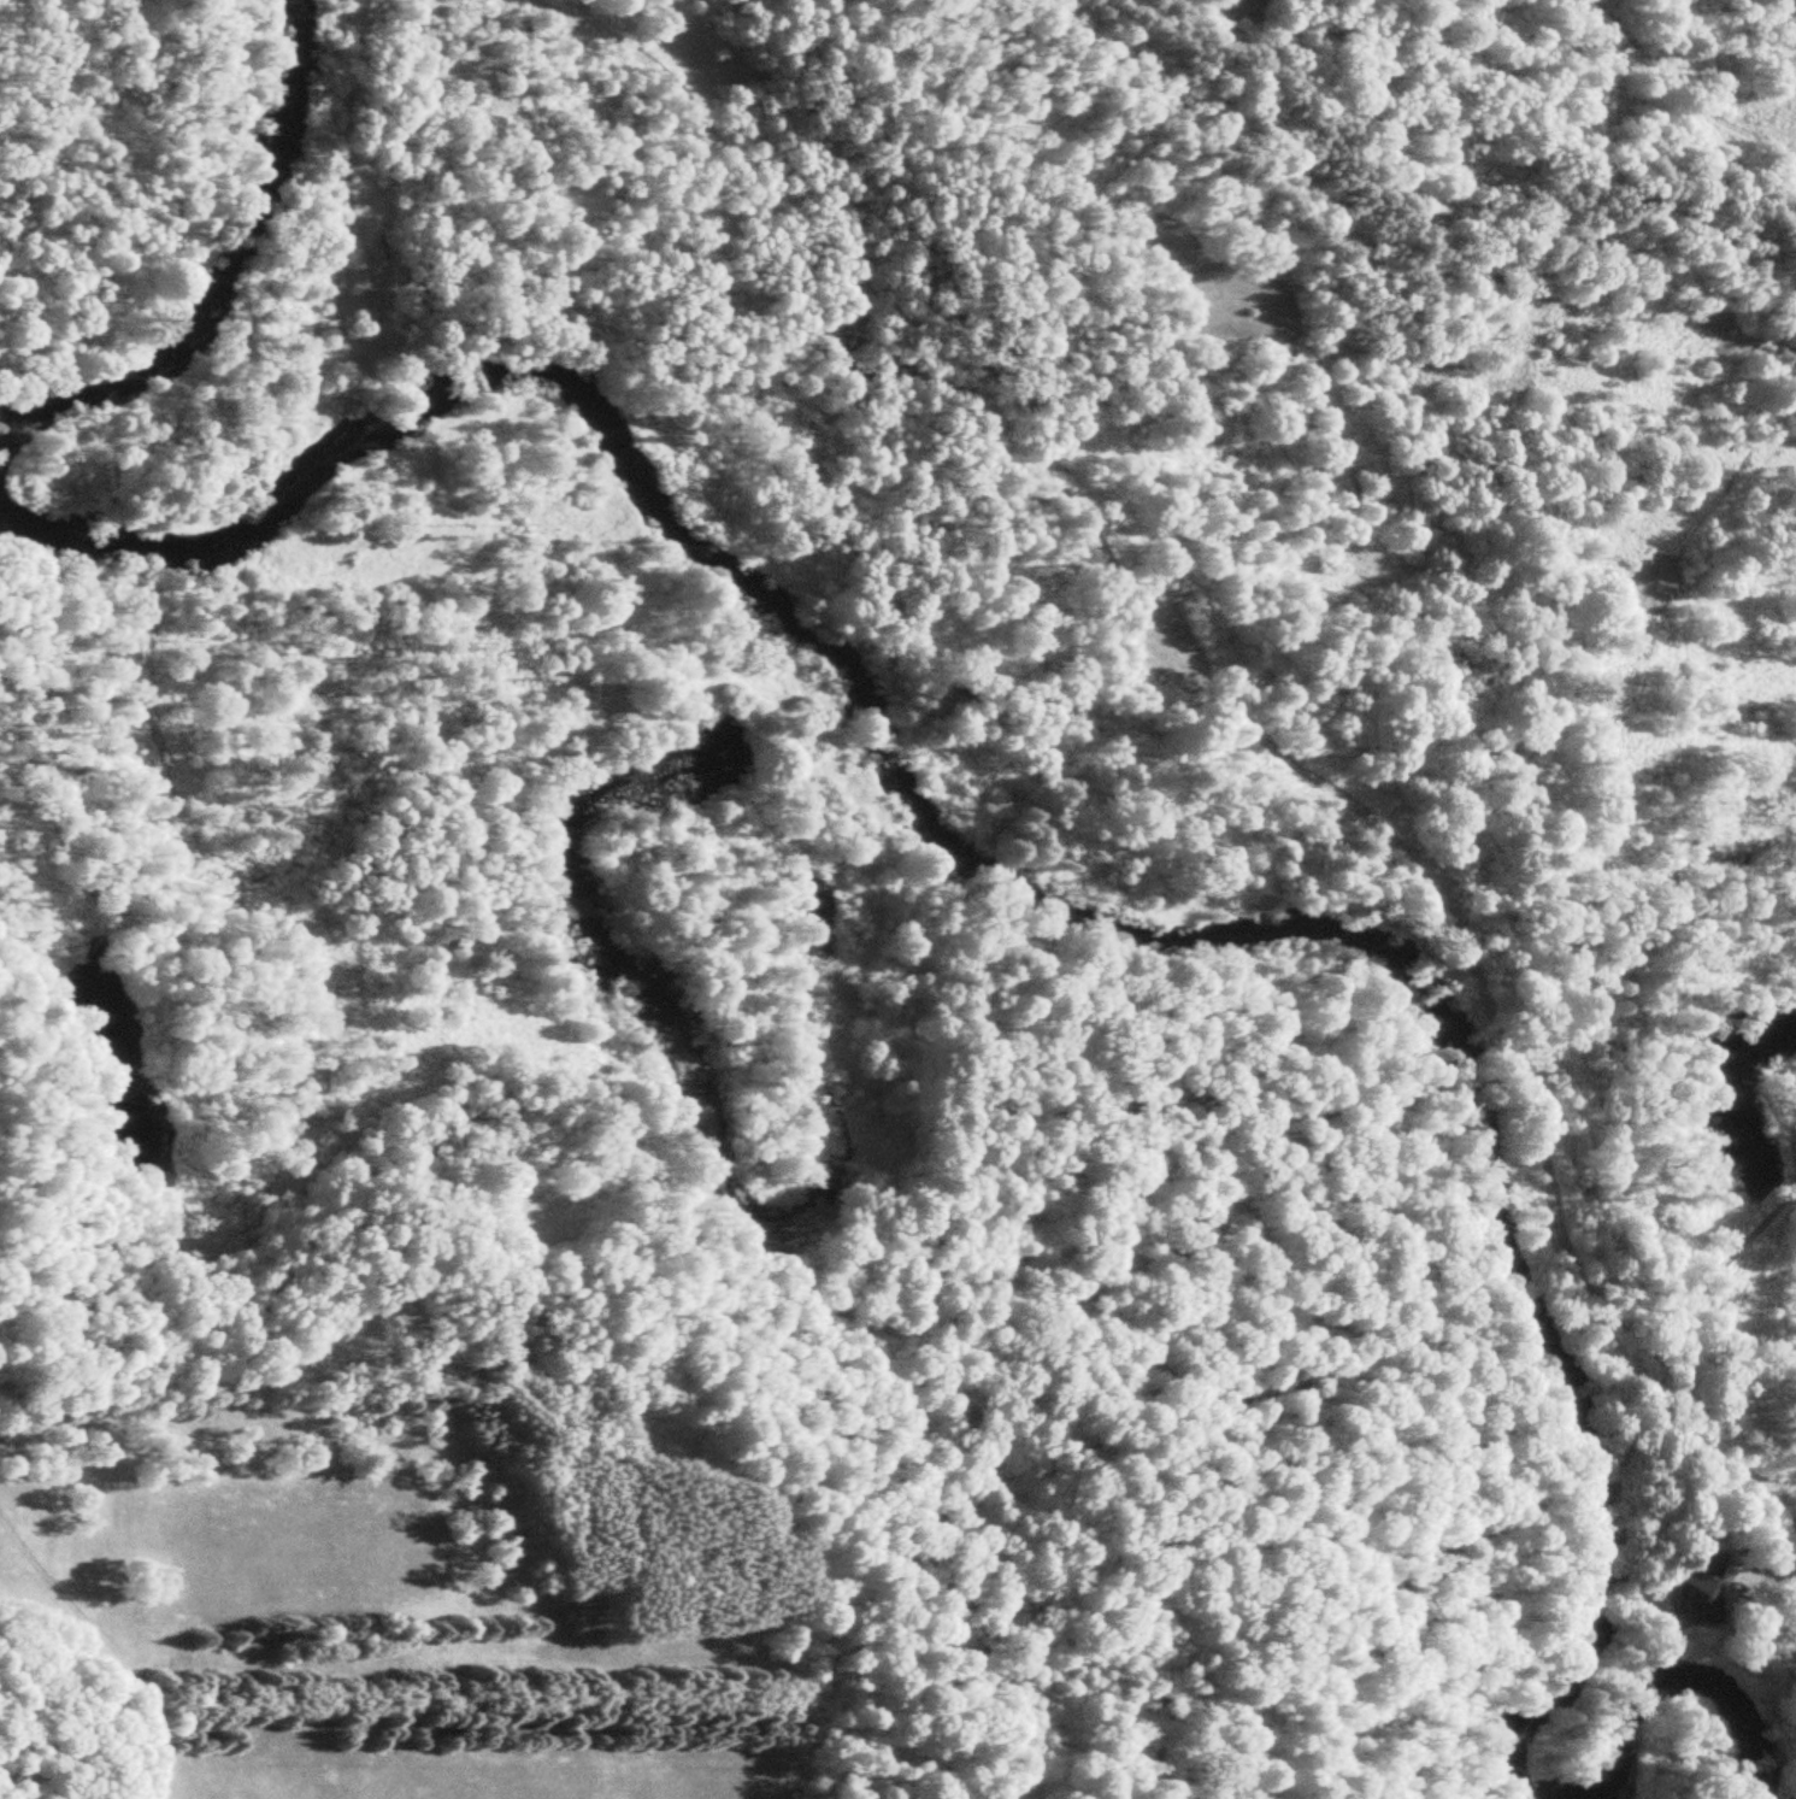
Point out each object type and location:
river: (223, 277)
road: (1215, 700)
river: (1003, 886)
building: (1694, 1587)
river: (1683, 1676)

